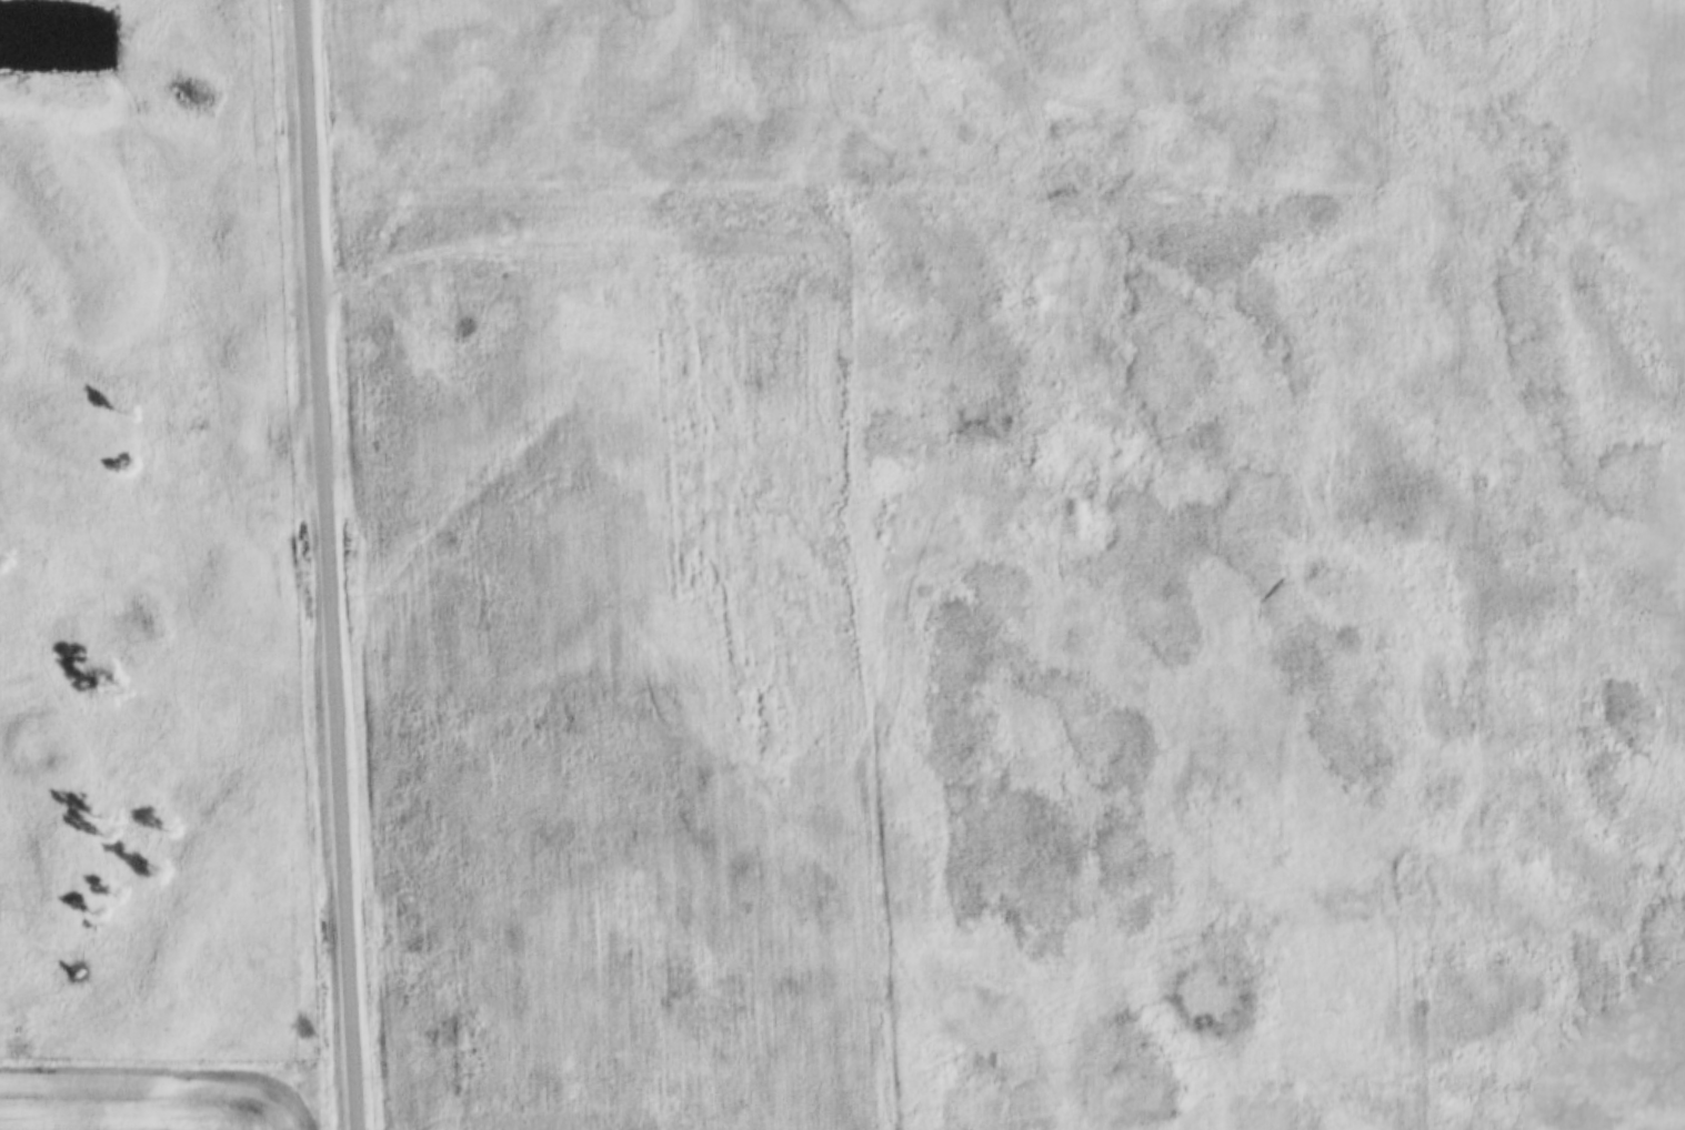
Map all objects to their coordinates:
road: (333, 564)
crop: (149, 1099)

